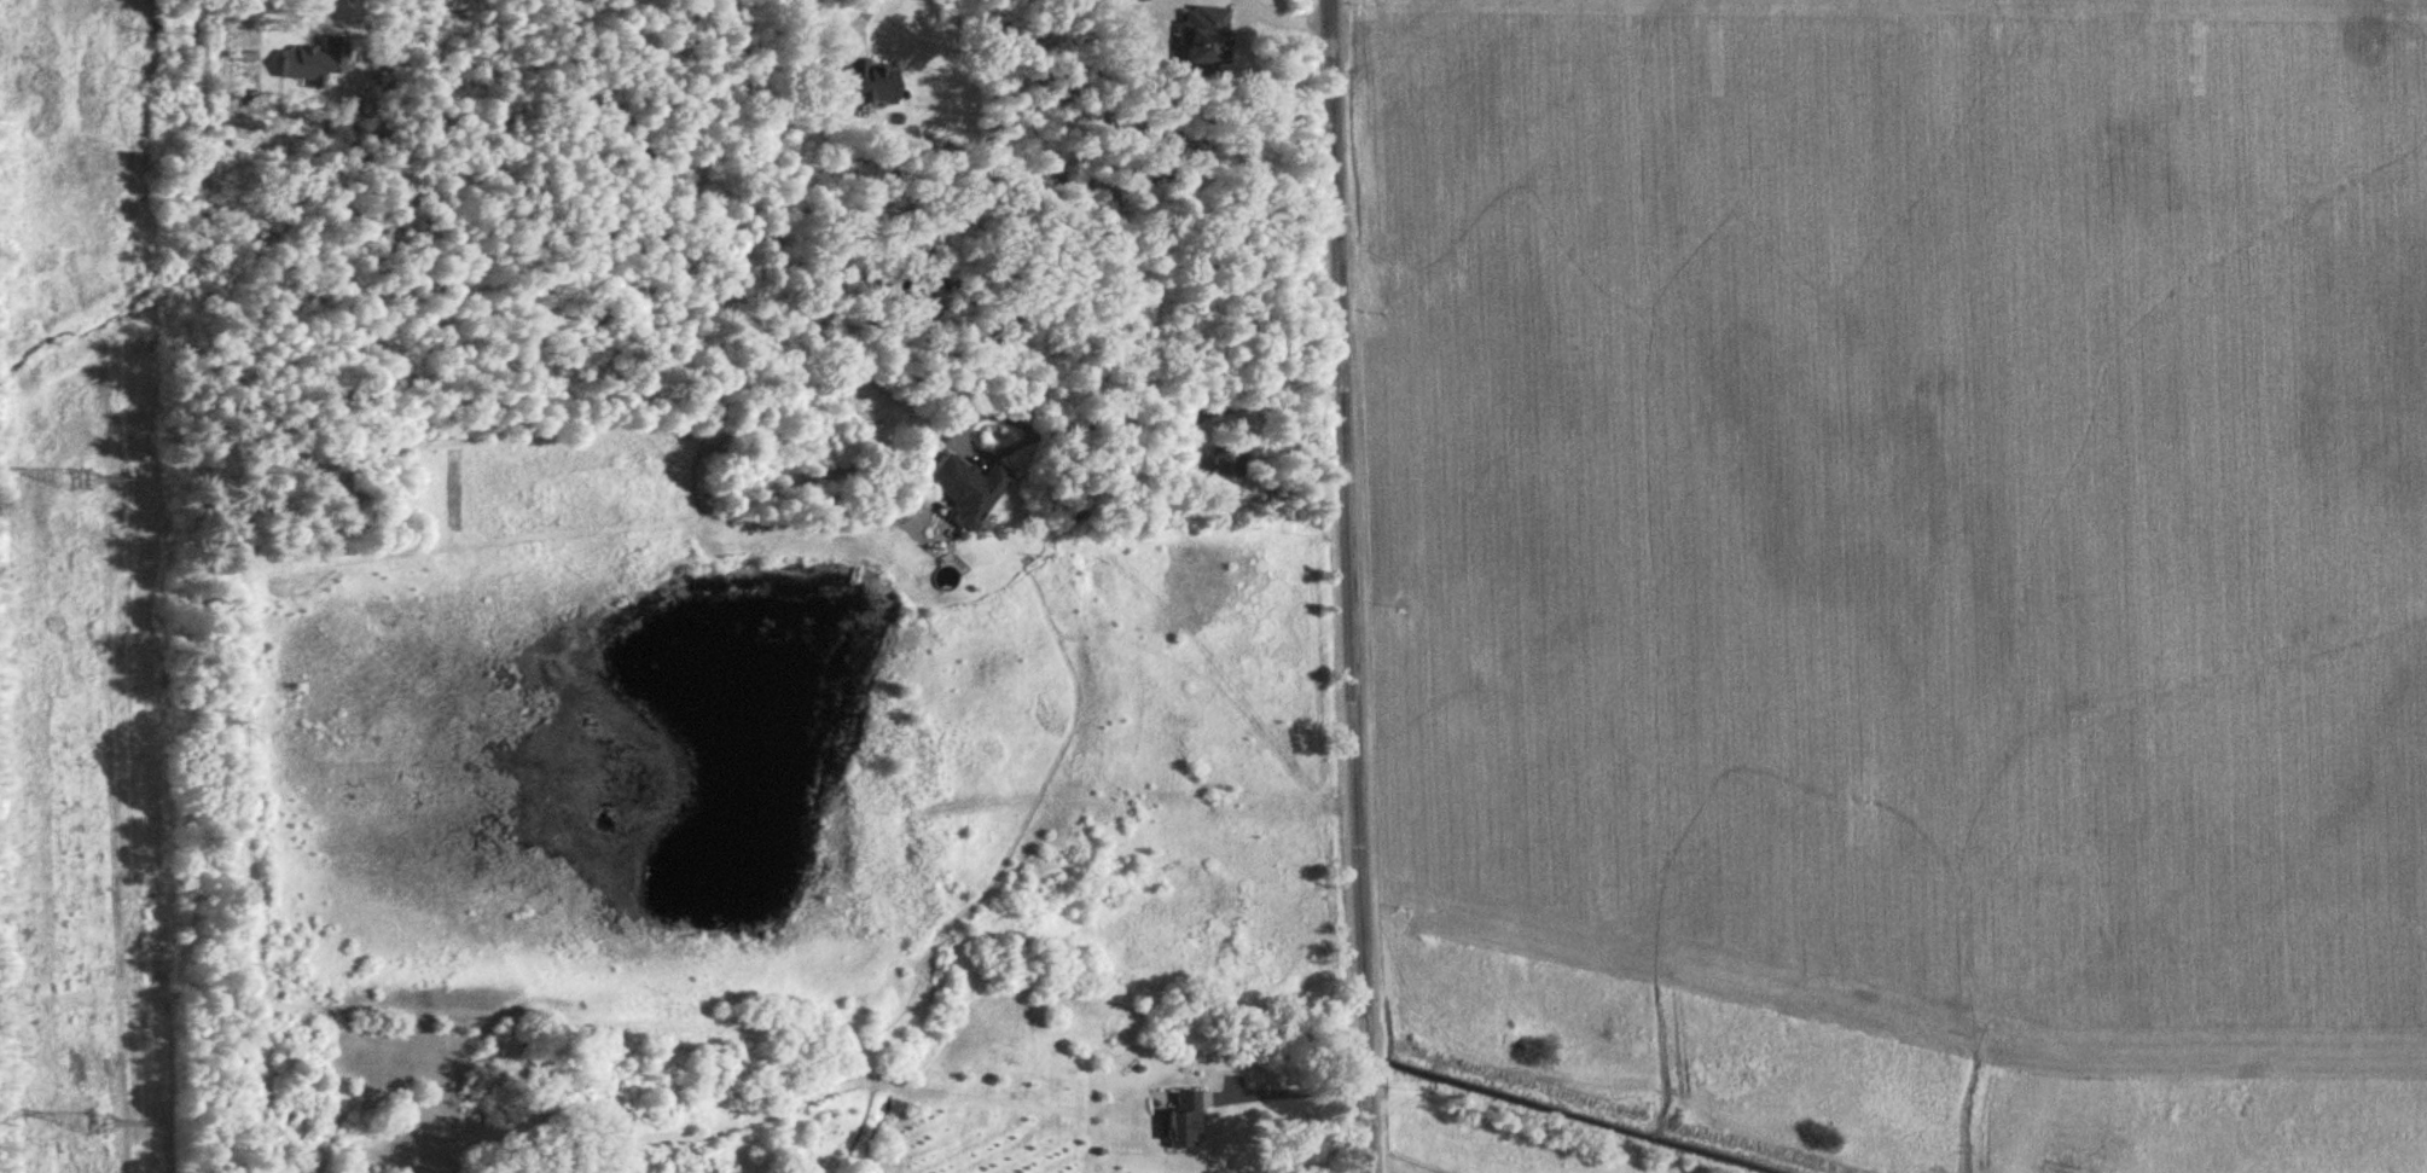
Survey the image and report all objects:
road: (855, 18)
road: (1099, 420)
building: (1229, 464)
power tower: (81, 478)
building: (968, 489)
crop: (1910, 511)
road: (1351, 586)
crop: (1882, 1079)
road: (1291, 1090)
building: (1186, 1119)
power tower: (98, 1123)

